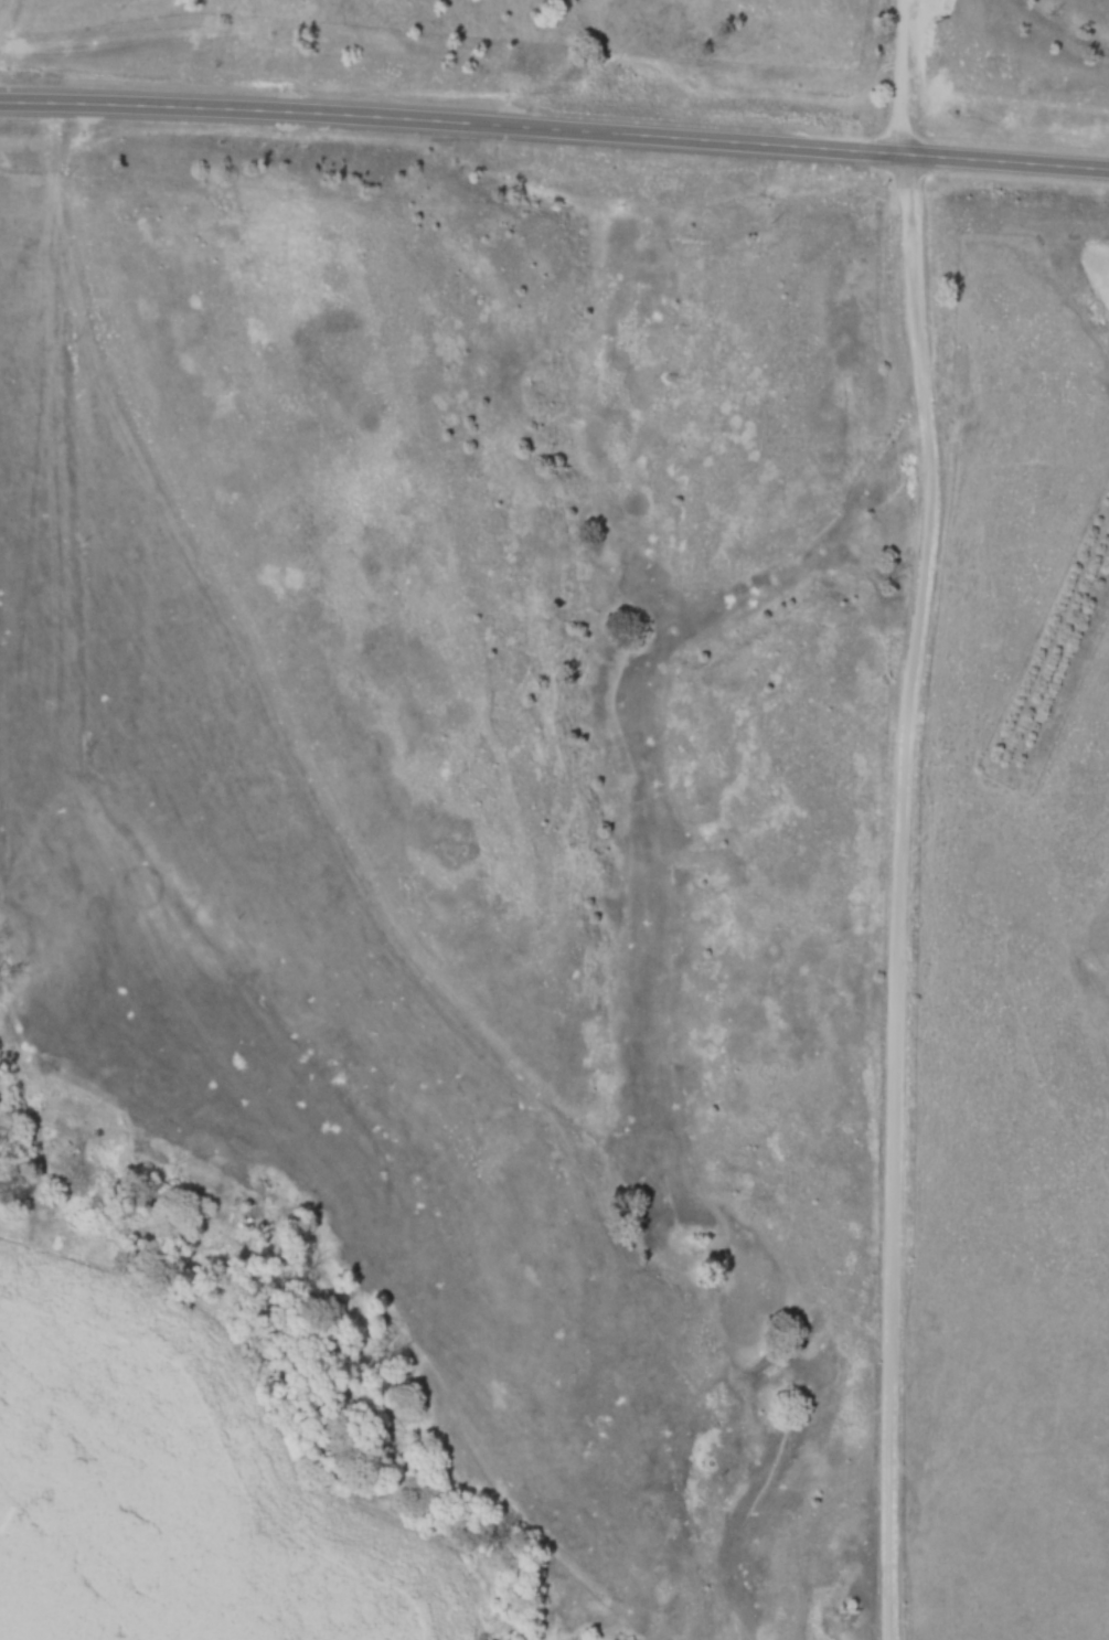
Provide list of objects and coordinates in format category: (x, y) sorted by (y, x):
road: (0, 1)
airport: (1016, 66)
road: (555, 123)
crop: (1098, 254)
road: (899, 818)
crop: (180, 1487)

